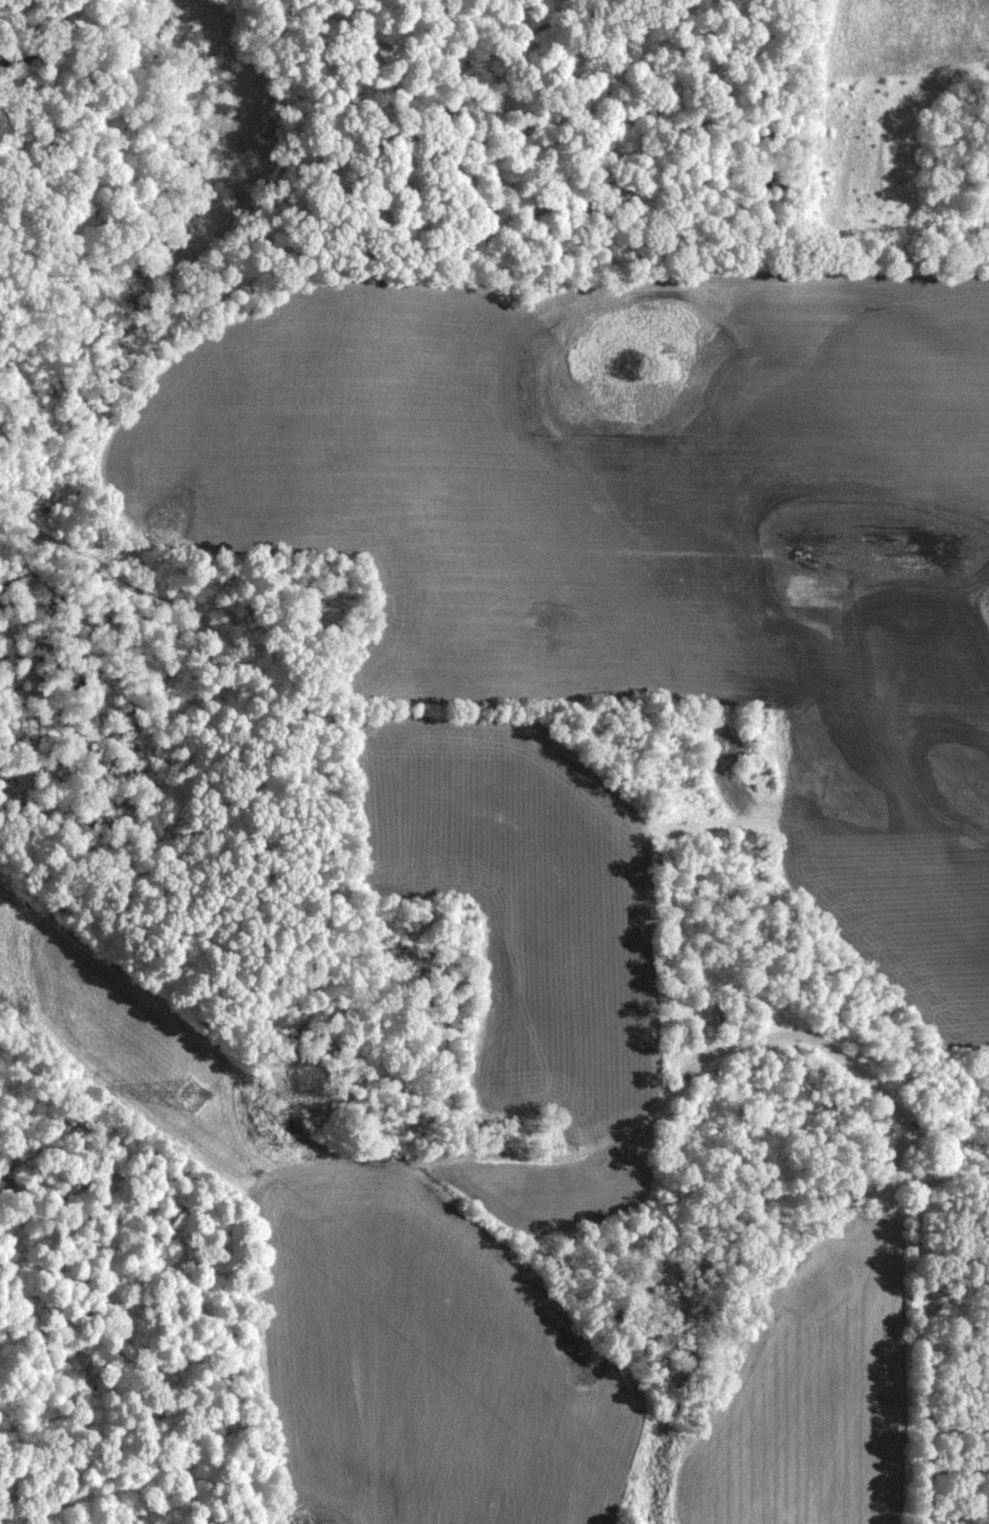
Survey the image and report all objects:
power tower: (190, 1097)

